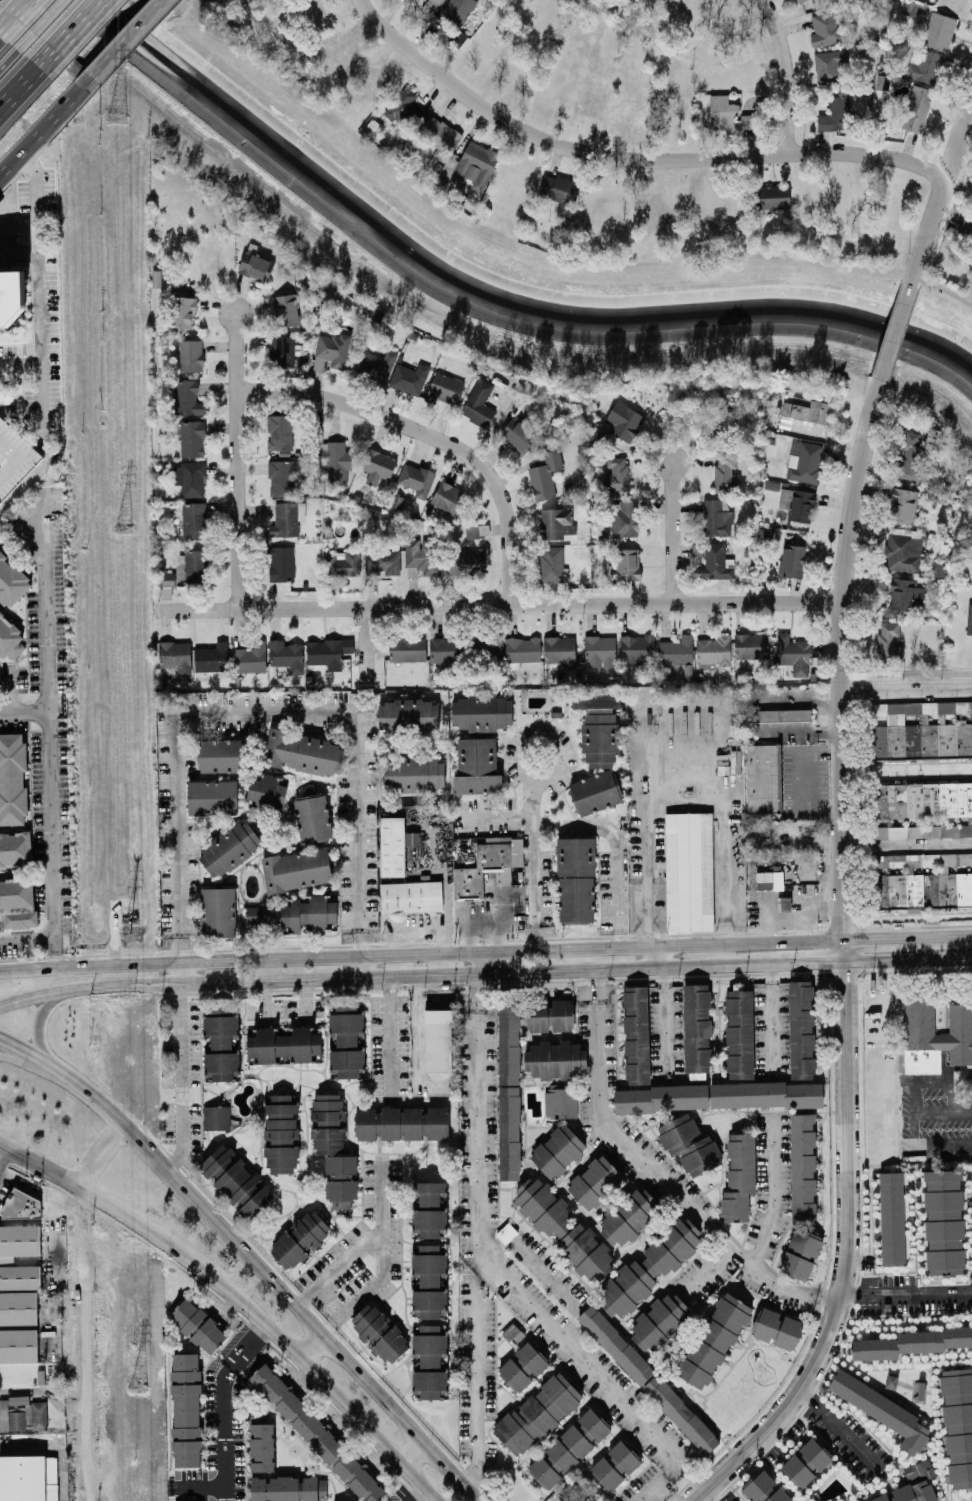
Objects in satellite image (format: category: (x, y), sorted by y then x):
building: (801, 1)
building: (818, 2)
building: (432, 6)
building: (909, 8)
road: (20, 13)
road: (48, 21)
building: (827, 29)
road: (4, 30)
road: (78, 30)
building: (939, 30)
building: (457, 38)
road: (125, 43)
road: (14, 57)
building: (829, 65)
building: (925, 67)
road: (787, 73)
road: (25, 87)
building: (917, 109)
building: (405, 110)
building: (728, 115)
building: (836, 116)
power tower: (115, 119)
road: (42, 132)
building: (439, 136)
road: (958, 138)
road: (628, 158)
building: (477, 164)
road: (965, 178)
building: (560, 193)
building: (772, 197)
building: (966, 222)
road: (926, 234)
park: (537, 252)
building: (255, 266)
road: (944, 289)
building: (11, 295)
road: (41, 296)
river: (486, 298)
building: (286, 310)
building: (183, 312)
road: (897, 332)
building: (332, 349)
building: (283, 351)
building: (191, 355)
building: (376, 365)
building: (409, 379)
building: (445, 389)
building: (187, 398)
building: (479, 404)
building: (807, 410)
building: (624, 421)
building: (279, 433)
road: (432, 435)
building: (519, 435)
building: (191, 438)
building: (911, 458)
road: (236, 459)
building: (804, 462)
building: (339, 463)
building: (378, 466)
building: (726, 473)
building: (616, 474)
building: (545, 476)
building: (282, 477)
building: (191, 479)
building: (416, 479)
building: (771, 485)
building: (449, 498)
building: (785, 498)
building: (802, 506)
building: (903, 506)
building: (716, 518)
building: (287, 519)
building: (625, 519)
building: (194, 520)
building: (556, 523)
power tower: (121, 529)
road: (671, 533)
building: (904, 550)
building: (420, 560)
building: (714, 560)
building: (792, 561)
building: (382, 562)
building: (466, 563)
building: (282, 564)
building: (342, 564)
building: (551, 564)
building: (628, 564)
building: (195, 567)
building: (938, 569)
building: (167, 579)
building: (11, 581)
building: (903, 595)
road: (500, 605)
building: (969, 620)
building: (9, 638)
building: (888, 641)
road: (364, 645)
building: (492, 646)
building: (751, 646)
building: (408, 649)
building: (543, 650)
building: (636, 650)
building: (444, 651)
building: (600, 651)
building: (676, 651)
building: (328, 652)
building: (713, 652)
building: (287, 654)
building: (794, 655)
building: (175, 656)
road: (839, 656)
building: (211, 658)
building: (250, 658)
road: (905, 694)
road: (261, 709)
road: (24, 711)
road: (49, 716)
building: (408, 716)
building: (780, 716)
building: (599, 725)
building: (923, 730)
building: (479, 741)
building: (304, 753)
road: (564, 755)
building: (222, 756)
road: (905, 771)
building: (414, 774)
building: (13, 779)
building: (762, 779)
building: (596, 792)
building: (267, 793)
building: (211, 797)
road: (684, 808)
building: (924, 808)
building: (313, 818)
road: (596, 823)
building: (392, 847)
road: (905, 847)
building: (15, 849)
building: (230, 849)
road: (535, 866)
building: (297, 870)
building: (479, 870)
building: (689, 873)
building: (576, 880)
building: (769, 880)
building: (927, 881)
building: (410, 898)
building: (18, 903)
building: (786, 905)
building: (218, 912)
building: (309, 914)
building: (258, 915)
road: (447, 917)
road: (483, 923)
power tower: (130, 933)
road: (28, 934)
road: (939, 935)
road: (873, 937)
road: (56, 949)
road: (510, 949)
road: (663, 957)
road: (478, 962)
road: (119, 964)
road: (360, 966)
road: (29, 968)
road: (179, 972)
road: (484, 974)
building: (550, 1016)
road: (39, 1021)
road: (772, 1021)
road: (900, 1024)
road: (664, 1025)
road: (417, 1029)
building: (697, 1030)
building: (801, 1030)
building: (955, 1033)
building: (740, 1034)
building: (637, 1035)
road: (180, 1036)
road: (390, 1038)
building: (346, 1040)
building: (438, 1040)
building: (222, 1043)
building: (282, 1045)
road: (37, 1067)
building: (557, 1074)
road: (950, 1088)
building: (509, 1090)
road: (180, 1094)
road: (931, 1111)
road: (847, 1117)
building: (216, 1118)
building: (401, 1123)
building: (328, 1124)
building: (281, 1132)
road: (180, 1136)
road: (914, 1139)
building: (689, 1144)
building: (558, 1151)
road: (3, 1152)
road: (101, 1154)
road: (157, 1160)
building: (803, 1169)
building: (739, 1177)
road: (653, 1178)
building: (237, 1181)
building: (341, 1181)
building: (595, 1182)
road: (388, 1189)
road: (773, 1193)
building: (21, 1206)
road: (116, 1209)
building: (429, 1209)
building: (628, 1218)
building: (892, 1218)
building: (944, 1222)
building: (563, 1228)
road: (478, 1231)
building: (506, 1233)
building: (300, 1239)
building: (19, 1240)
building: (806, 1243)
road: (342, 1266)
building: (796, 1266)
building: (650, 1267)
road: (547, 1274)
road: (708, 1274)
building: (429, 1281)
road: (367, 1285)
road: (906, 1295)
building: (18, 1313)
building: (659, 1321)
building: (197, 1325)
building: (777, 1328)
building: (379, 1332)
building: (714, 1339)
building: (912, 1342)
road: (83, 1343)
road: (311, 1350)
building: (429, 1359)
building: (522, 1366)
road: (591, 1371)
building: (648, 1379)
power tower: (140, 1389)
road: (329, 1393)
road: (386, 1403)
road: (225, 1407)
road: (781, 1409)
building: (881, 1409)
building: (186, 1410)
building: (537, 1413)
building: (957, 1424)
road: (840, 1430)
building: (316, 1433)
building: (262, 1446)
building: (569, 1448)
road: (411, 1453)
building: (806, 1462)
building: (616, 1465)
building: (918, 1470)
building: (25, 1479)
road: (659, 1482)
road: (199, 1485)
building: (288, 1488)
building: (764, 1488)
building: (576, 1492)
building: (910, 1492)
road: (664, 1493)
road: (416, 1495)
road: (709, 1495)

